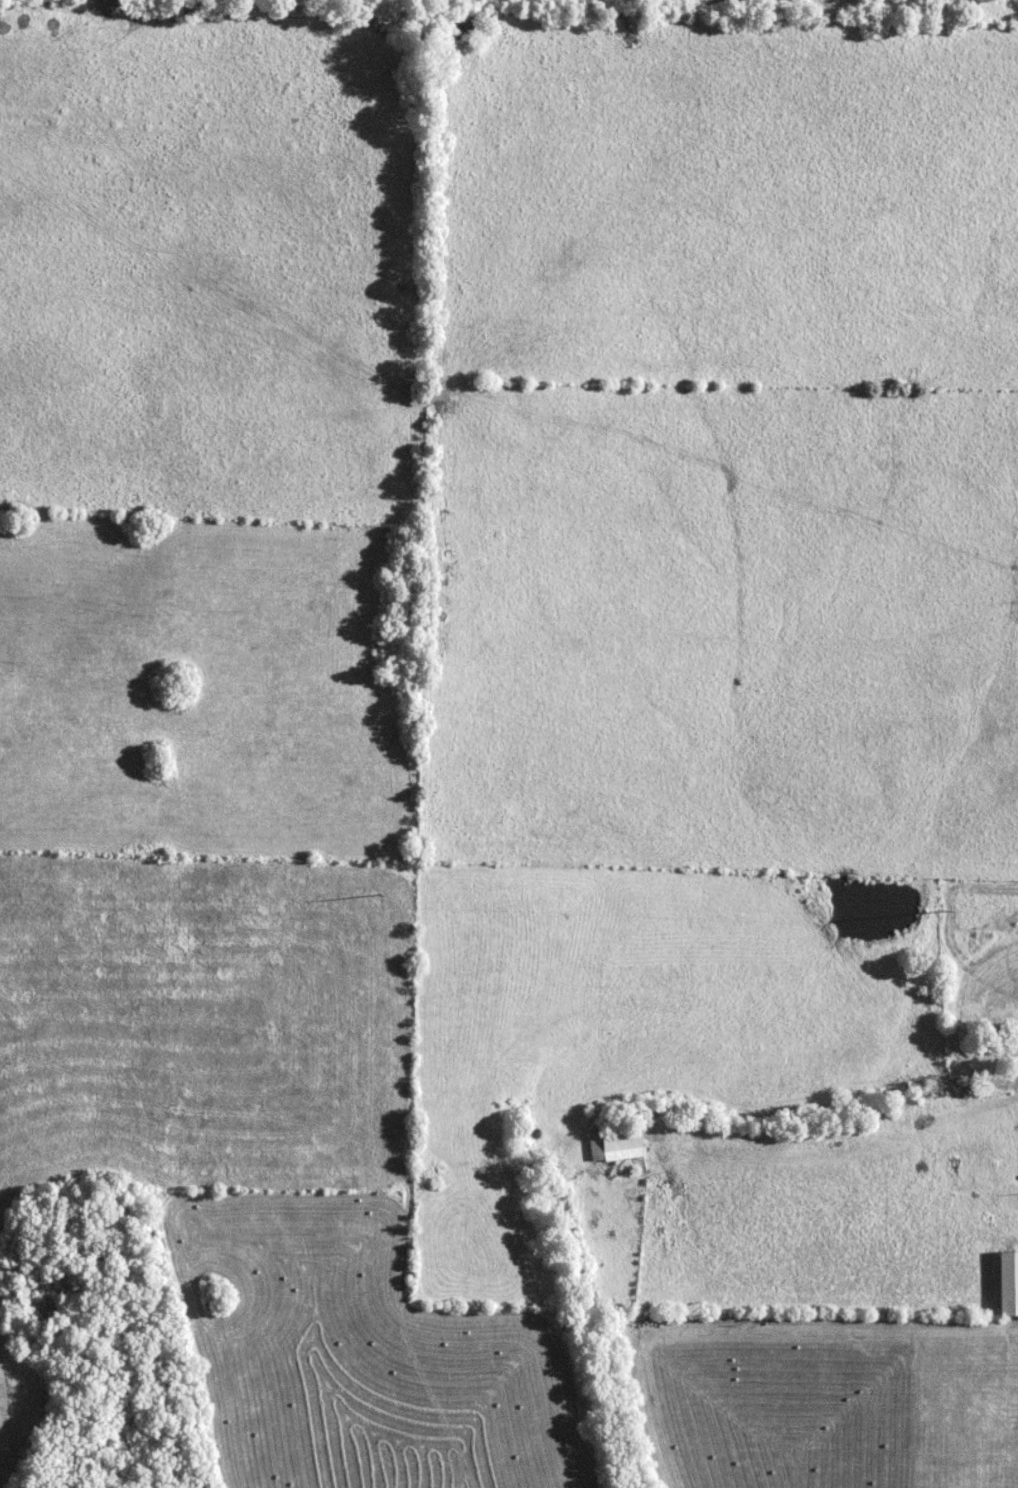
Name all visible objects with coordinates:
crop: (195, 1040)
building: (617, 1145)
building: (1014, 1281)

